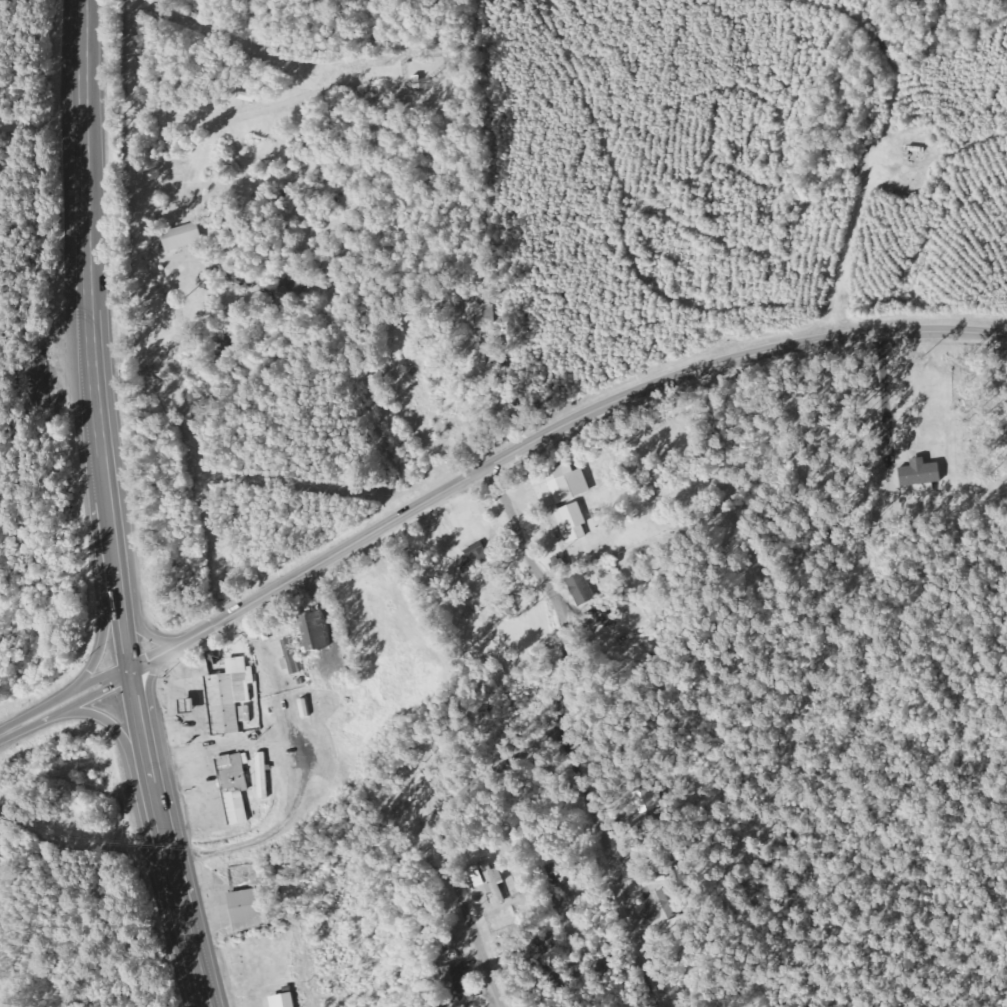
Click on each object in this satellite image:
building: (180, 238)
building: (480, 316)
road: (572, 423)
building: (921, 473)
building: (565, 498)
road: (105, 508)
building: (582, 589)
road: (104, 607)
road: (135, 613)
road: (491, 621)
building: (313, 631)
road: (155, 656)
building: (291, 658)
building: (229, 695)
road: (148, 696)
gas station: (228, 696)
road: (64, 702)
building: (246, 714)
road: (110, 724)
building: (262, 769)
building: (234, 786)
road: (460, 786)
building: (643, 800)
road: (587, 873)
building: (496, 881)
building: (248, 909)
road: (446, 921)
road: (351, 951)
building: (456, 976)
building: (284, 1000)

